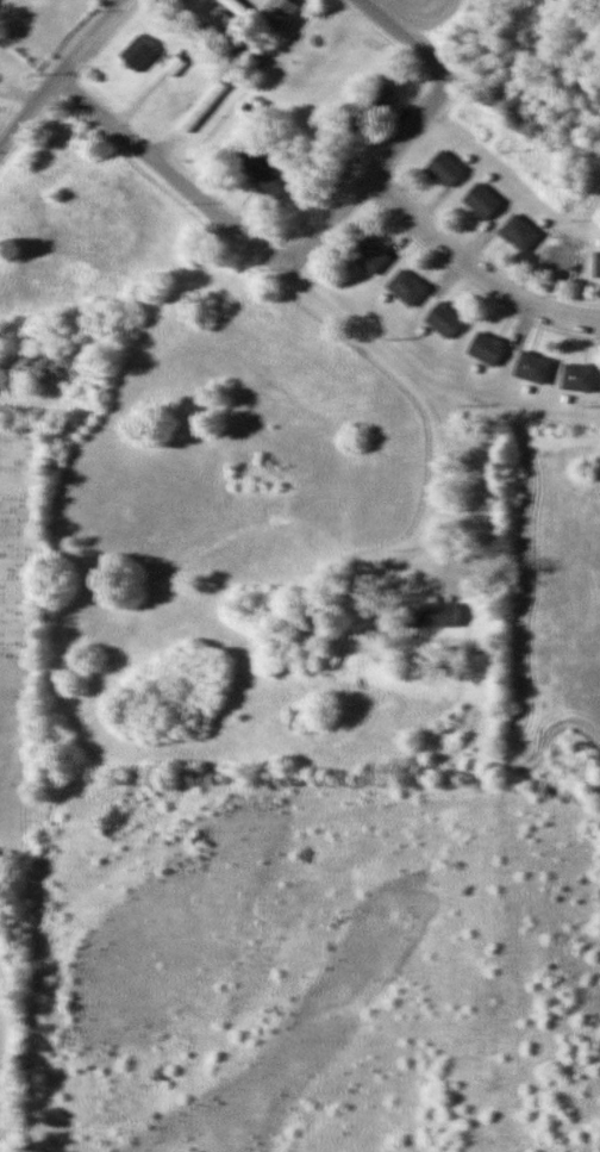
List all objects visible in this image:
building: (238, 7)
building: (276, 14)
building: (215, 25)
road: (412, 36)
building: (139, 52)
road: (61, 74)
building: (204, 105)
building: (373, 107)
building: (445, 168)
road: (371, 169)
building: (264, 170)
building: (482, 200)
building: (519, 232)
building: (369, 254)
road: (474, 264)
building: (596, 264)
road: (305, 282)
building: (407, 286)
building: (444, 318)
building: (486, 347)
building: (533, 367)
building: (579, 376)
building: (438, 614)
park: (14, 740)

